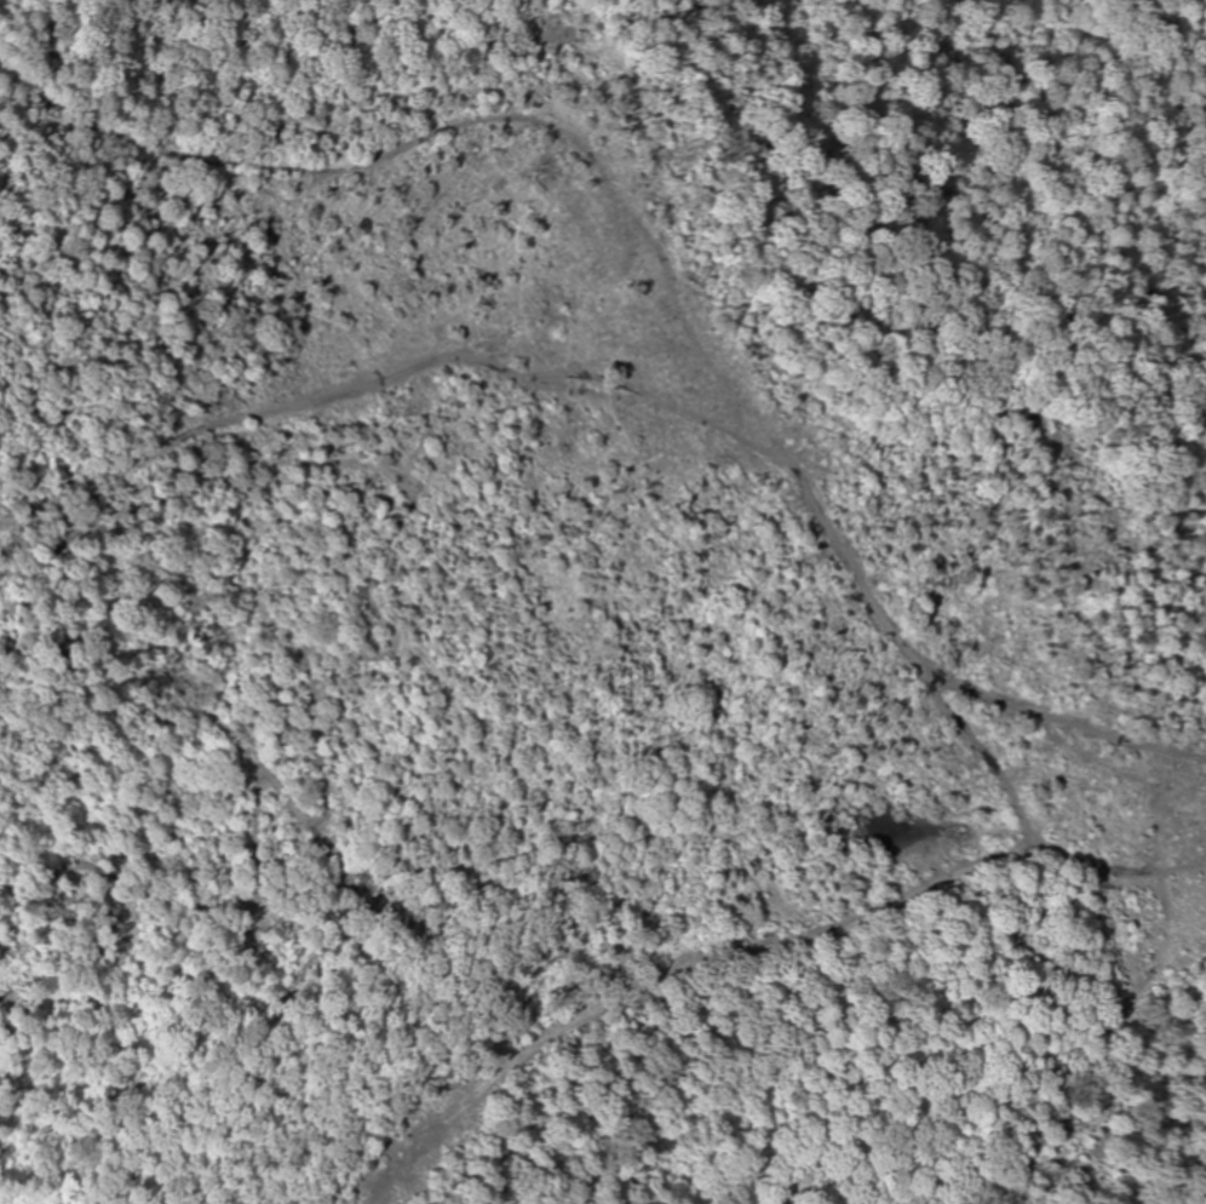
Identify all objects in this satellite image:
building: (838, 923)

